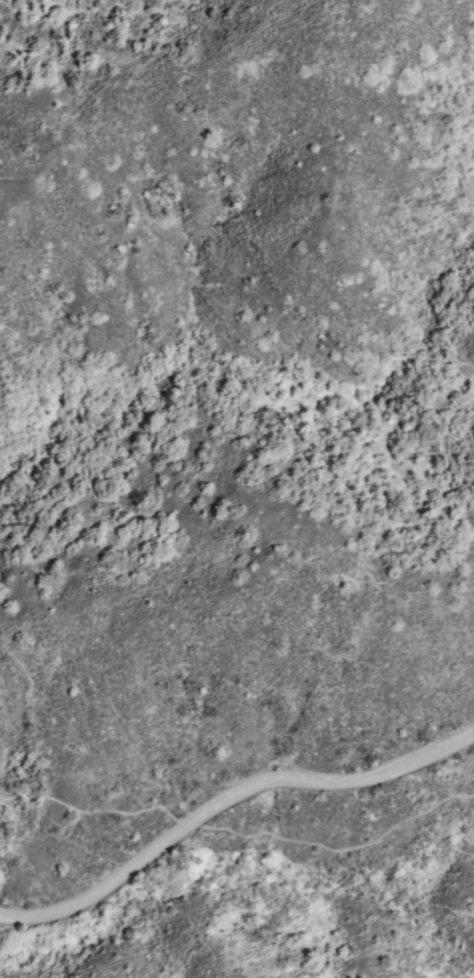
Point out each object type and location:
road: (225, 795)
road: (238, 834)

